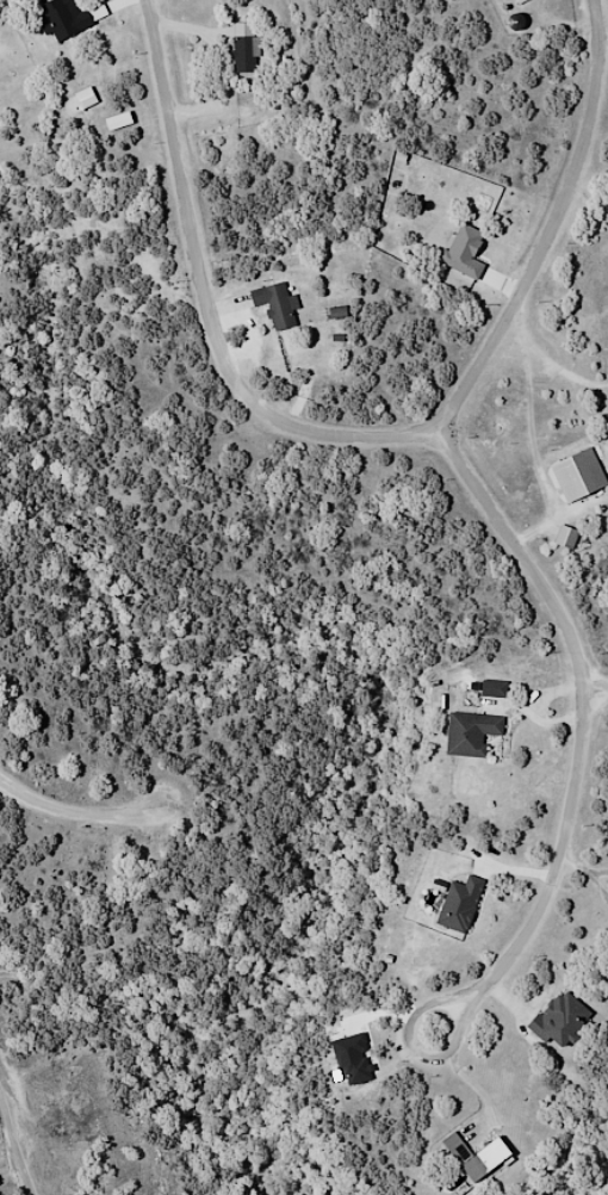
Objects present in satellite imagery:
building: (62, 18)
building: (244, 55)
building: (275, 304)
road: (212, 308)
building: (588, 484)
road: (496, 496)
building: (565, 538)
building: (576, 544)
building: (502, 692)
road: (600, 694)
building: (479, 738)
road: (89, 806)
building: (469, 910)
building: (569, 1034)
road: (416, 1054)
road: (14, 1145)
building: (483, 1172)

